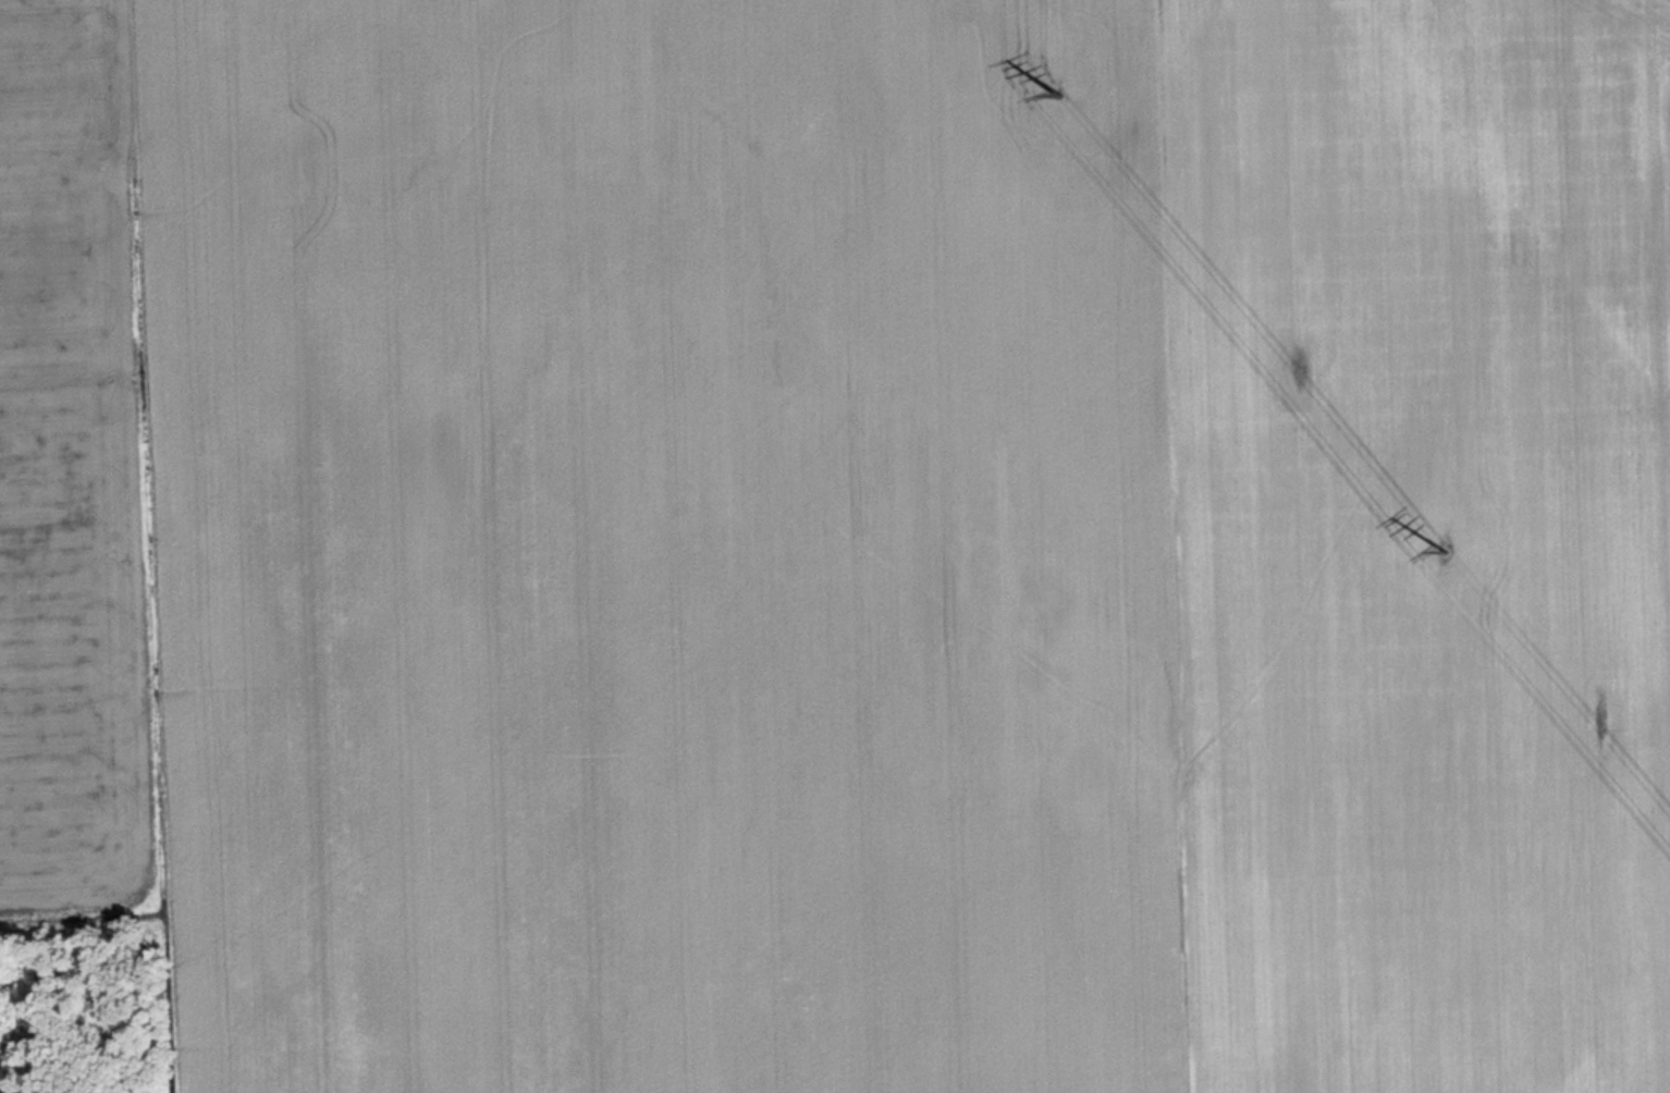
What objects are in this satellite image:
power tower: (1055, 93)
power tower: (1445, 544)

